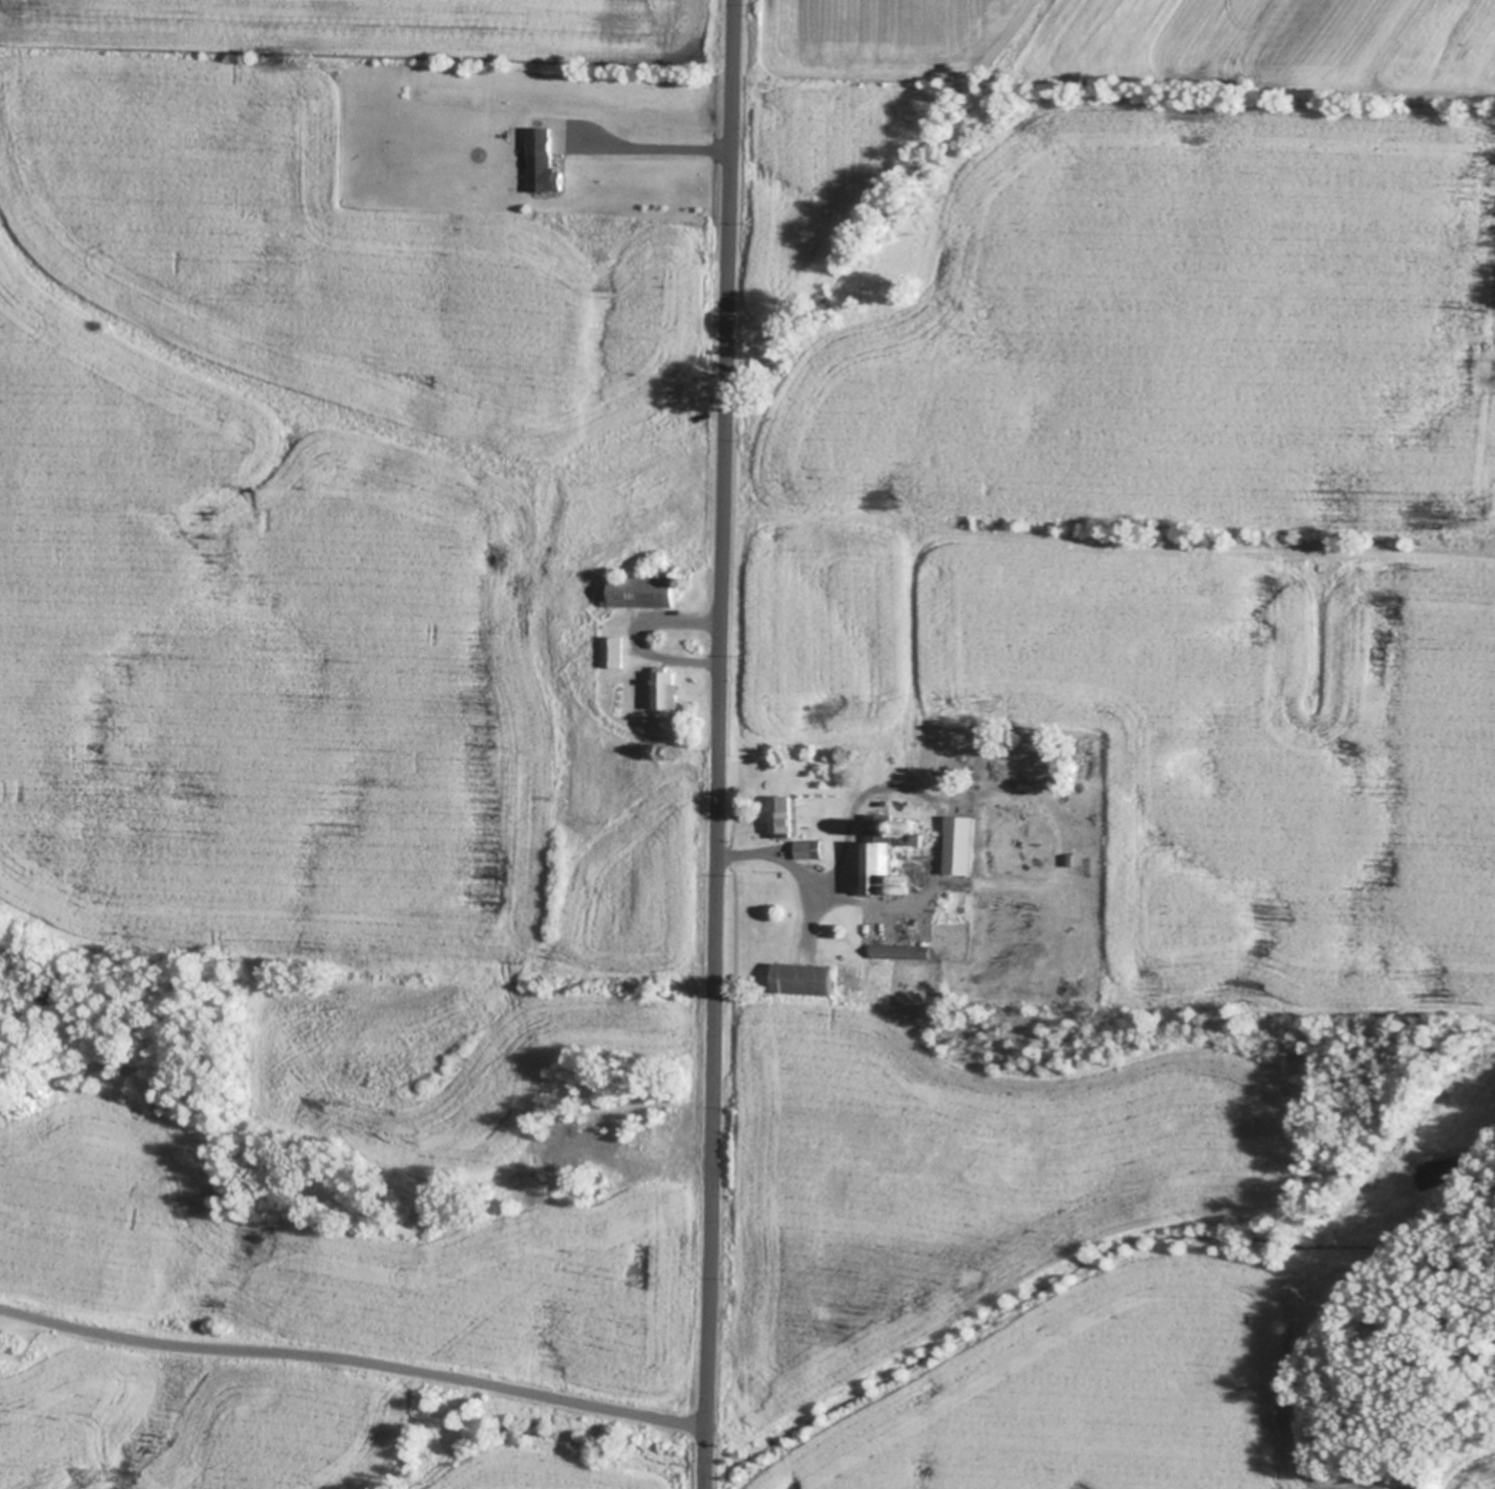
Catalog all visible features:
building: (545, 160)
building: (687, 582)
building: (645, 591)
building: (615, 650)
building: (667, 689)
road: (721, 744)
building: (783, 816)
building: (962, 844)
building: (811, 848)
building: (835, 848)
building: (883, 853)
building: (902, 878)
building: (902, 889)
building: (903, 951)
building: (805, 977)
power tower: (1300, 1293)
road: (364, 1355)

